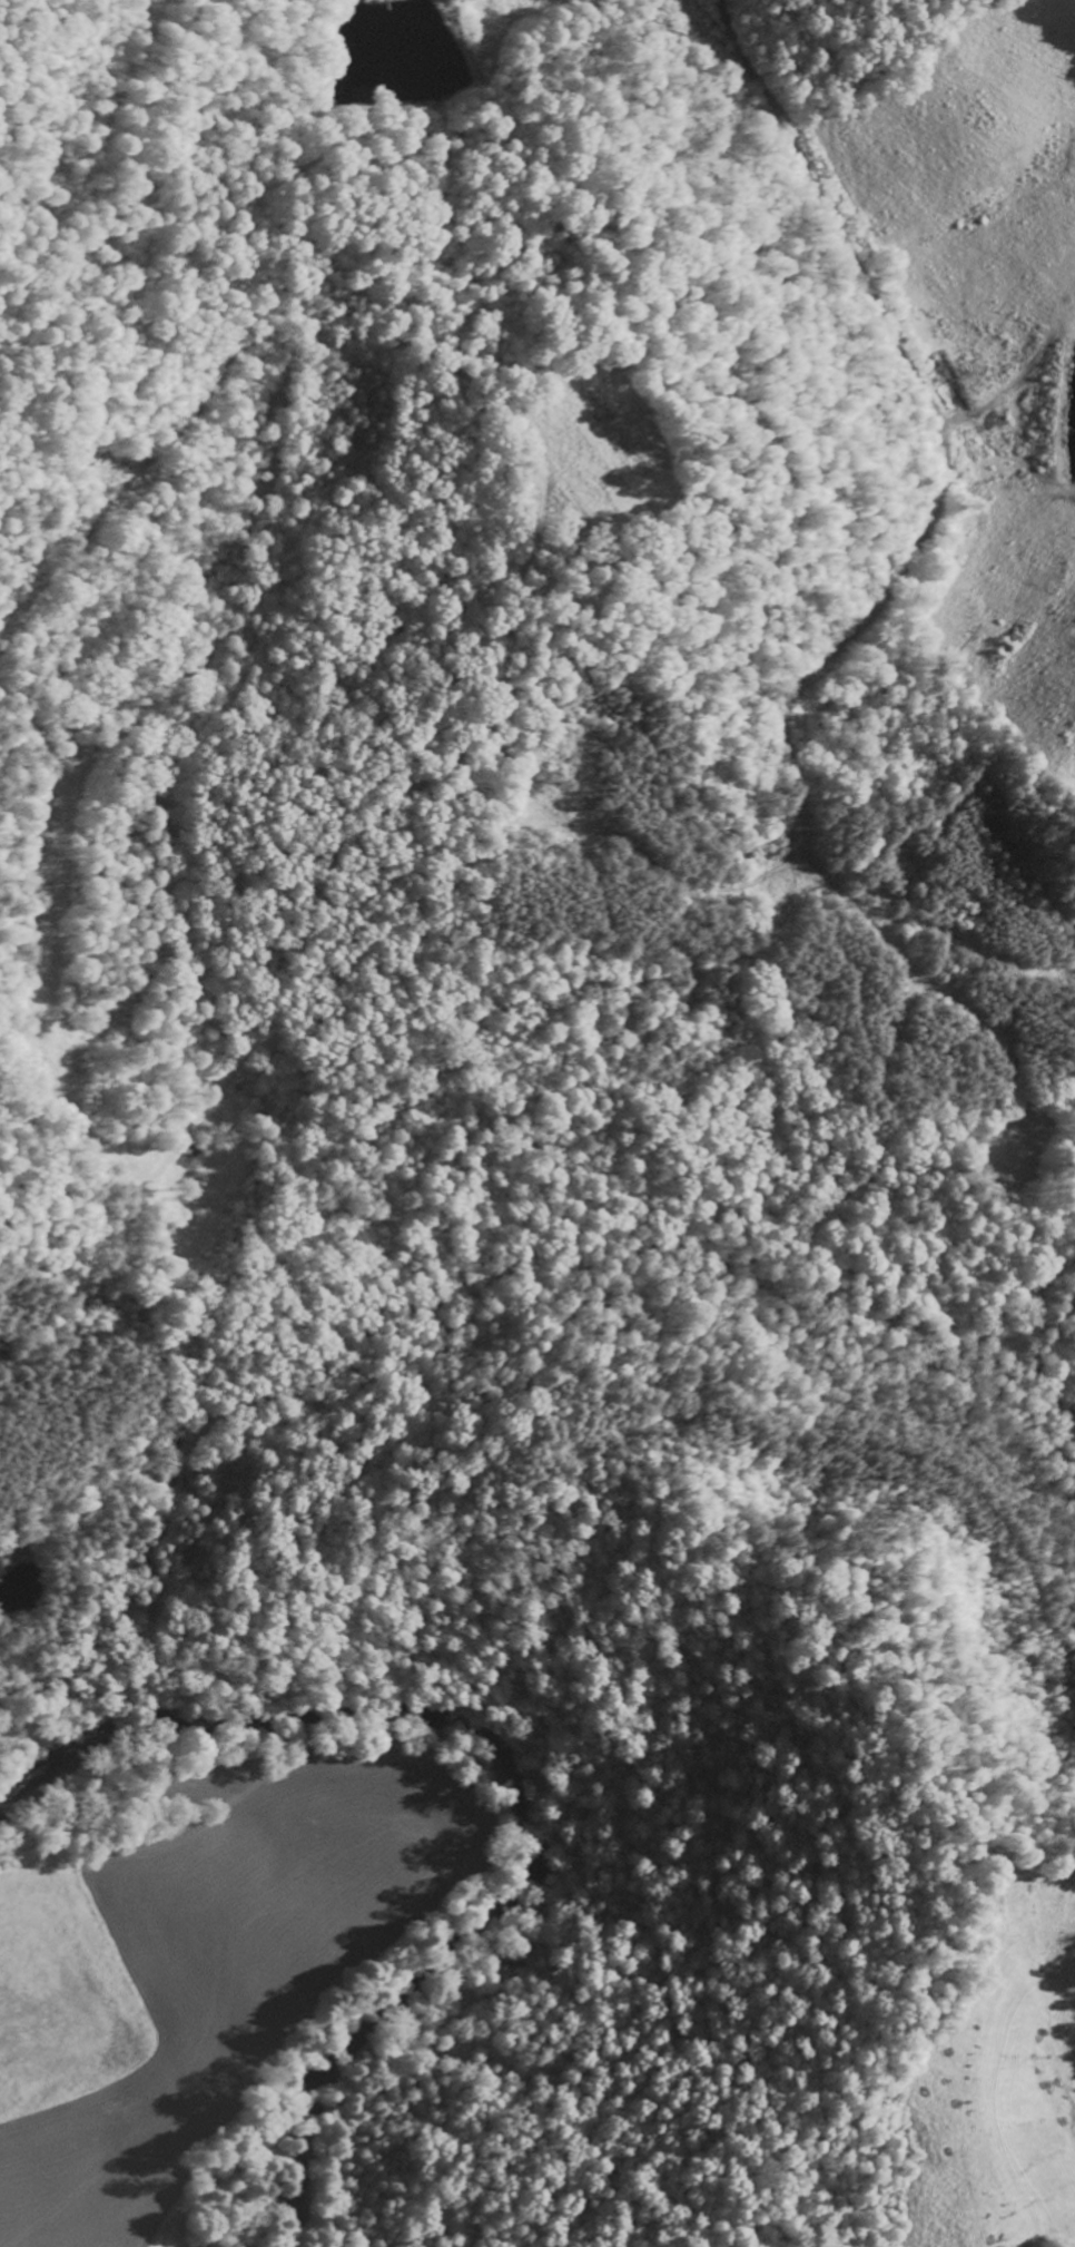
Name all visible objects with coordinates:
road: (821, 213)

